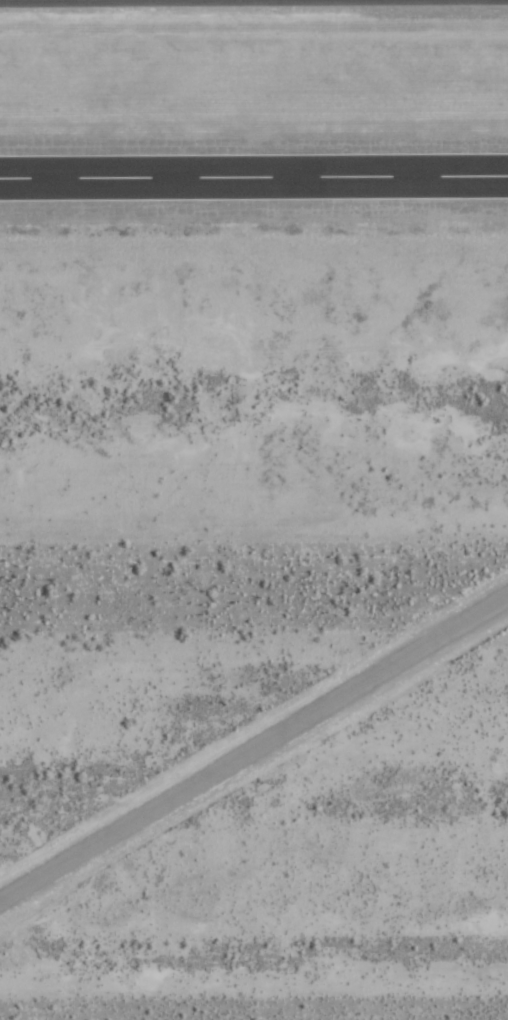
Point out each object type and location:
airport runway: (254, 174)
airport taxiway: (254, 745)

